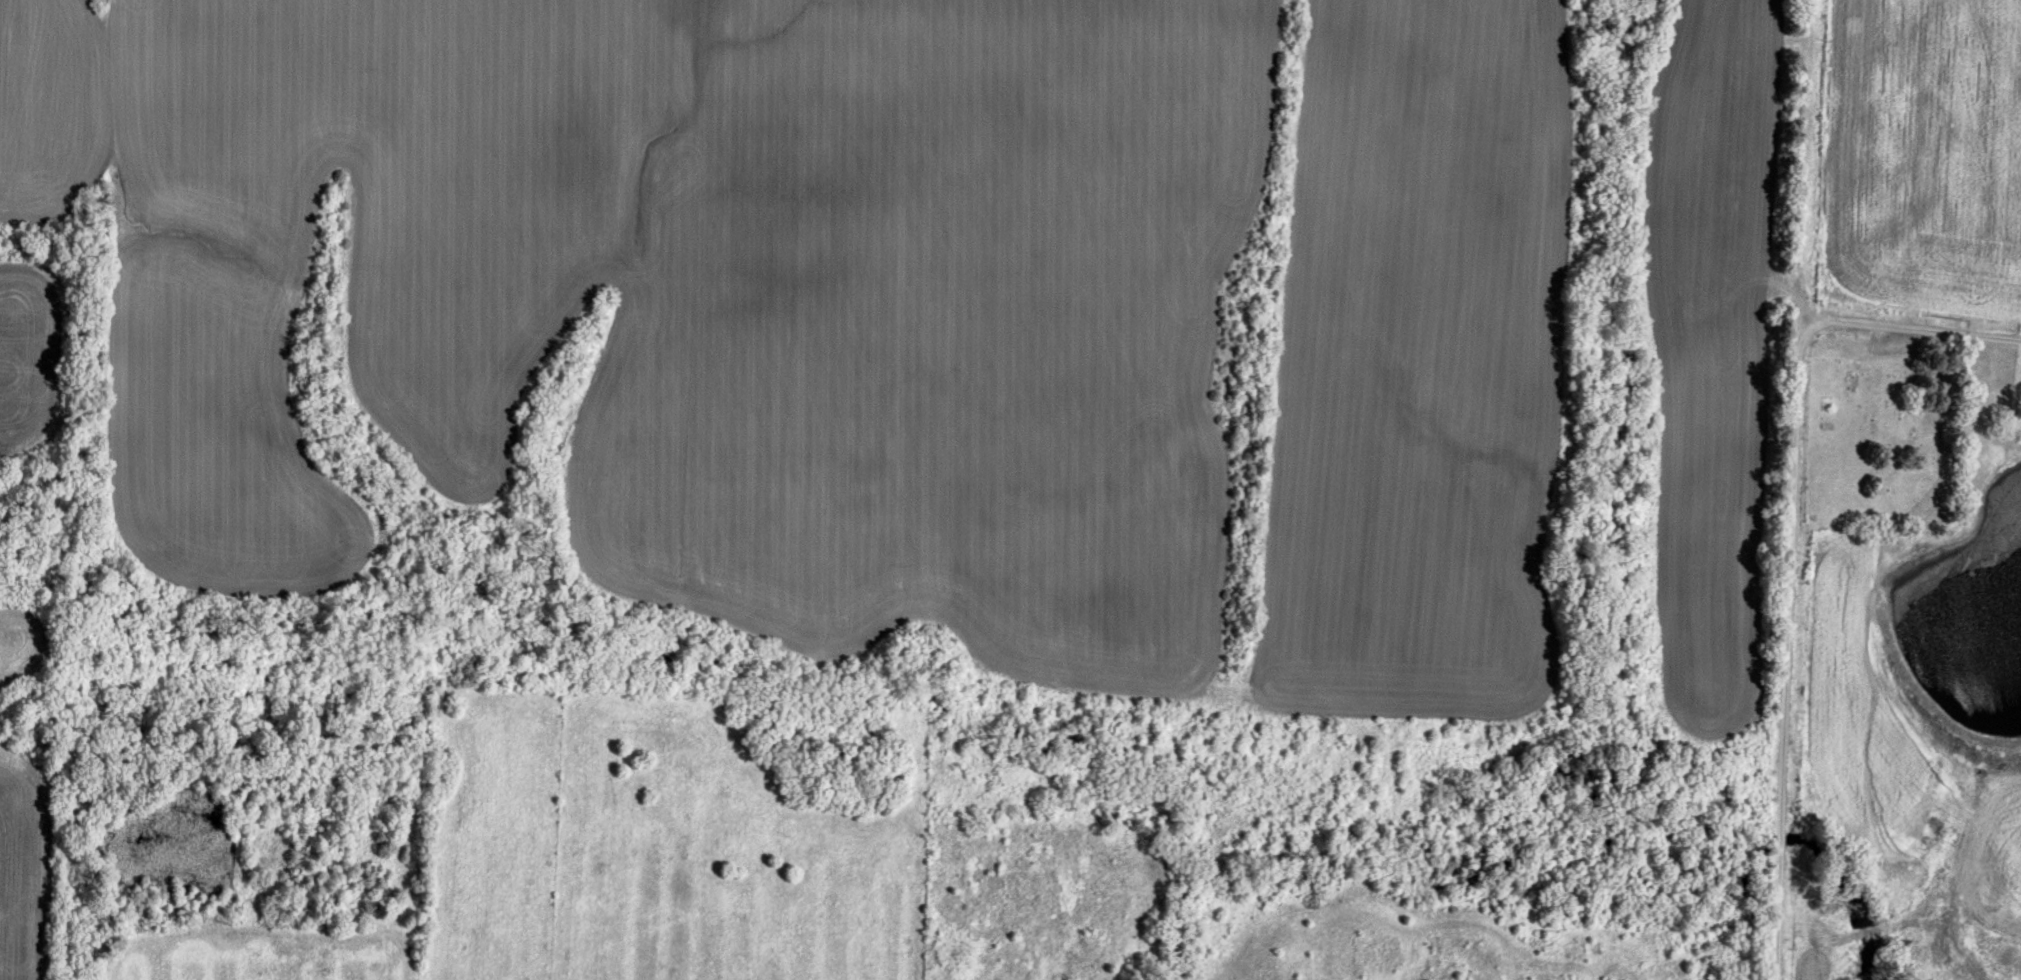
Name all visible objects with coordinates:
road: (1912, 331)
park: (1883, 436)
road: (1793, 513)

